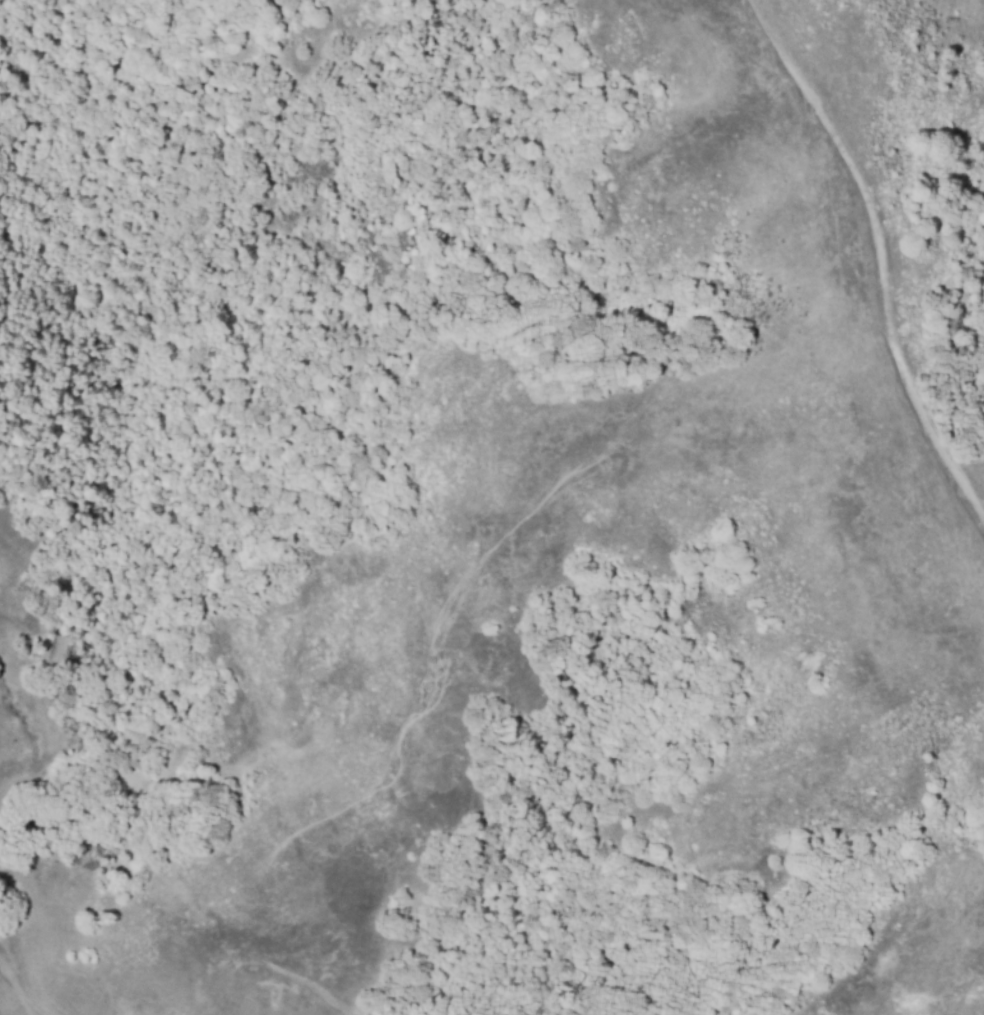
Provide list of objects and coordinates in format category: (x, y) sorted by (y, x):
road: (904, 211)

